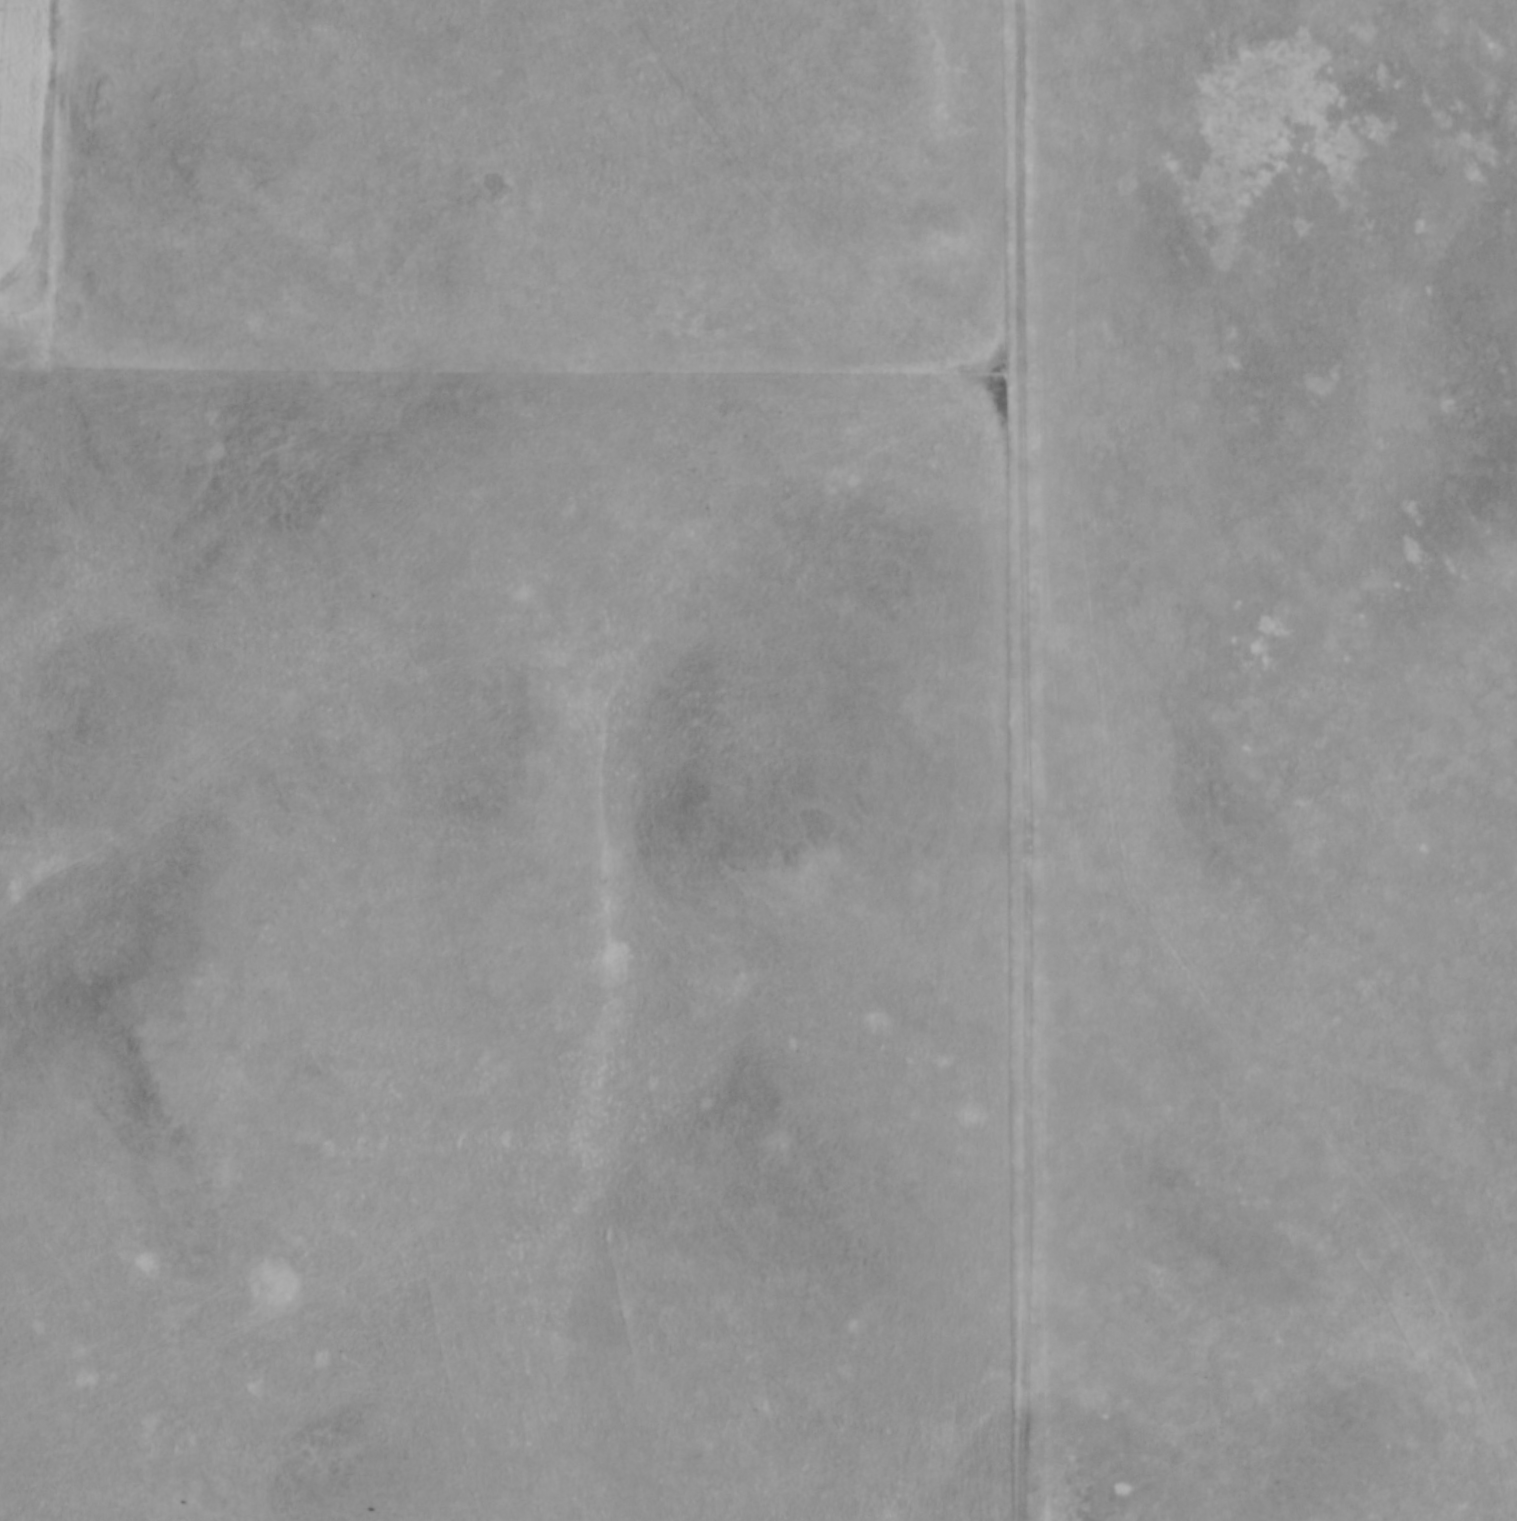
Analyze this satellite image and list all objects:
road: (1020, 760)

